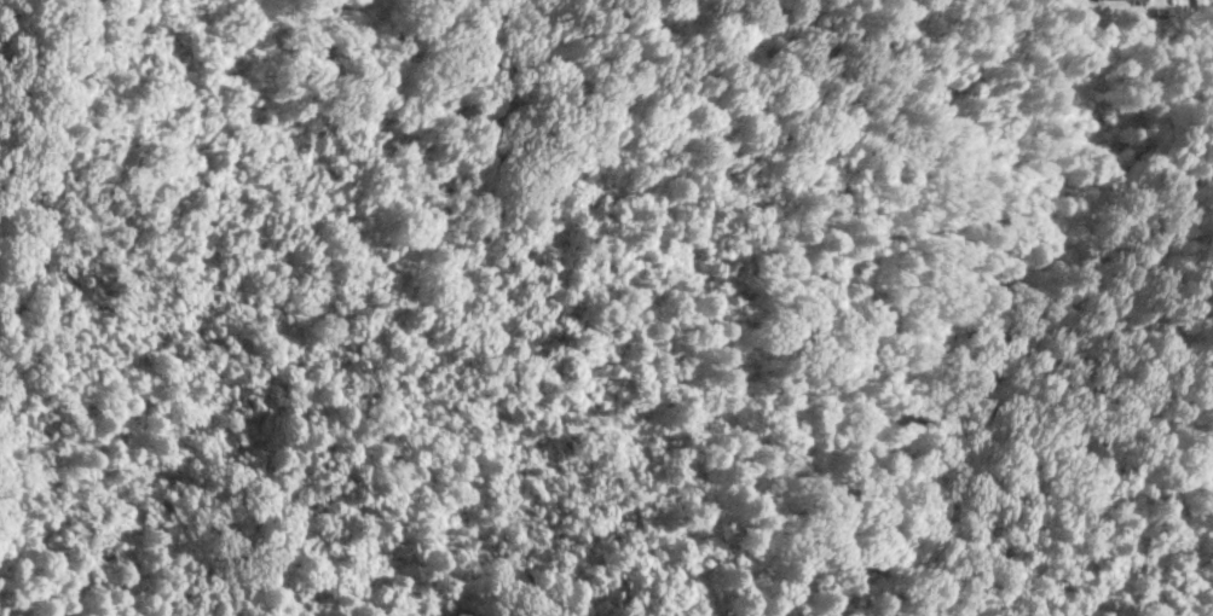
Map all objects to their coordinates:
building: (1130, 0)

